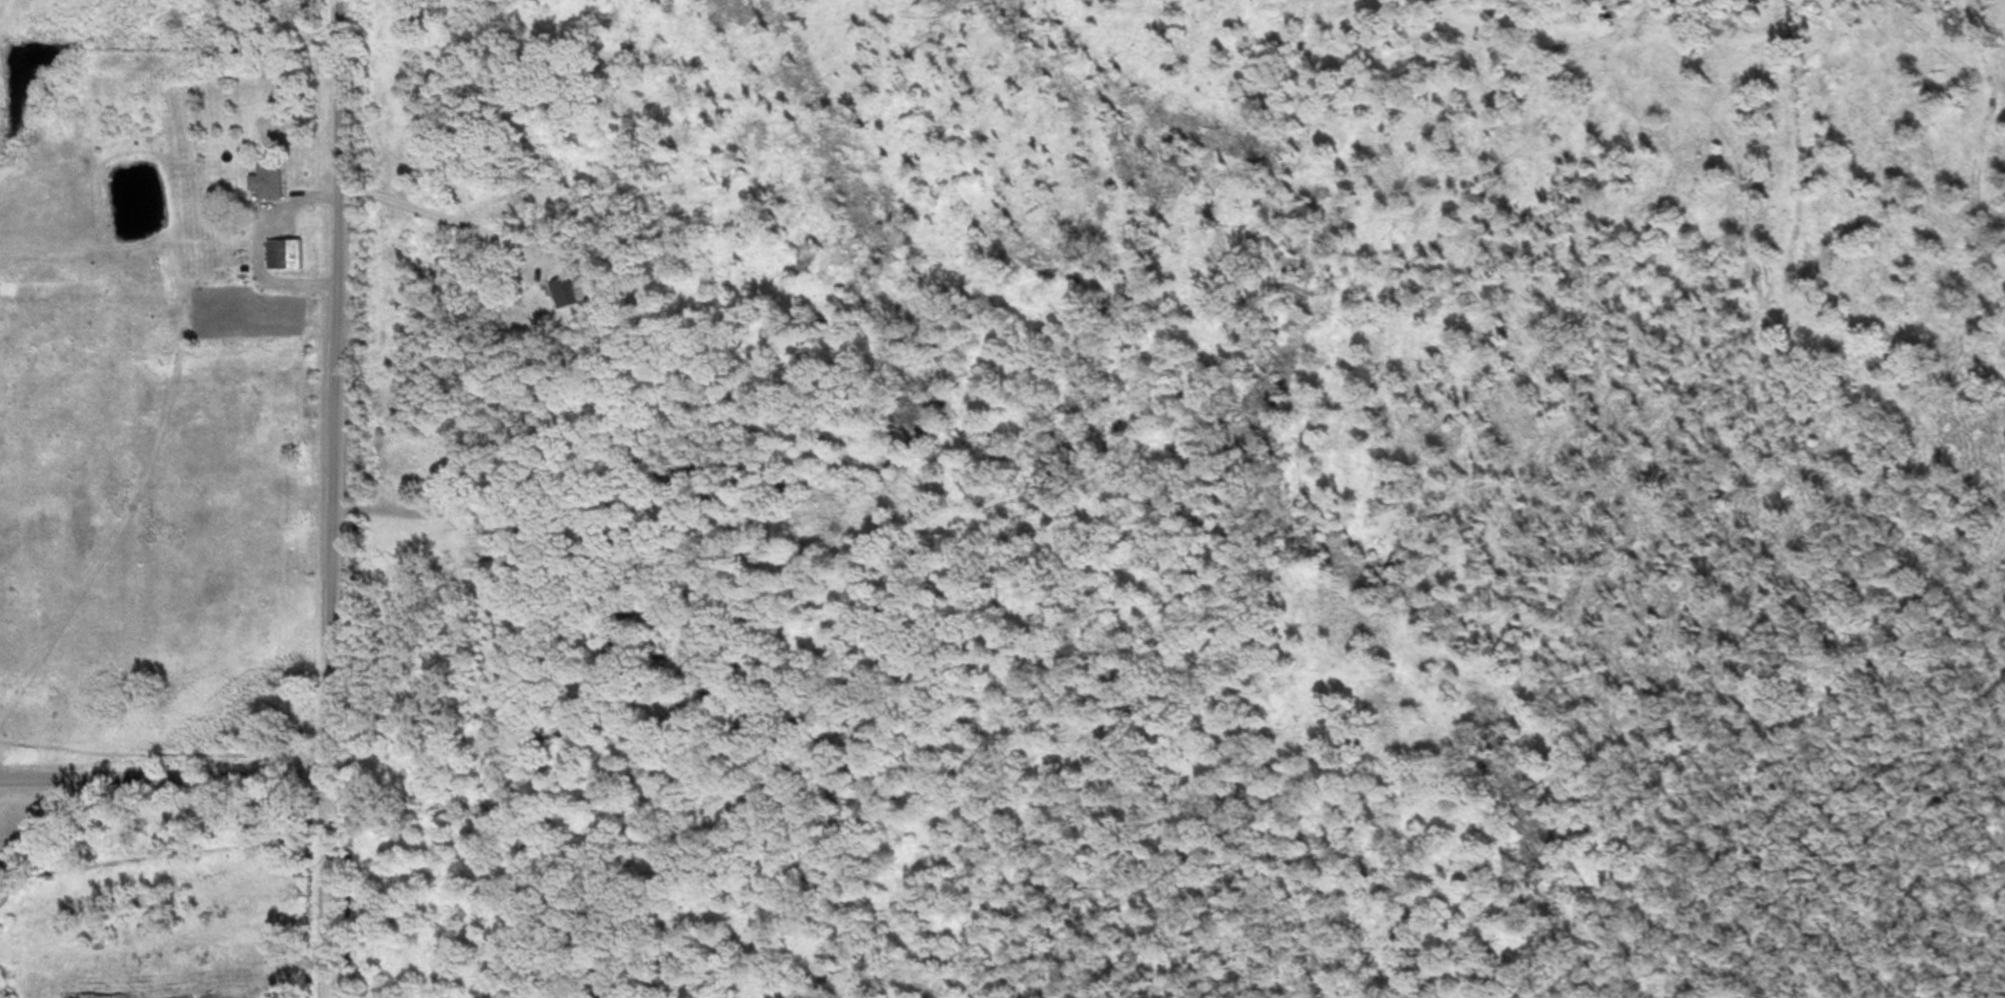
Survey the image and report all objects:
building: (270, 178)
road: (441, 216)
building: (285, 252)
building: (561, 292)
road: (325, 498)
road: (162, 776)

